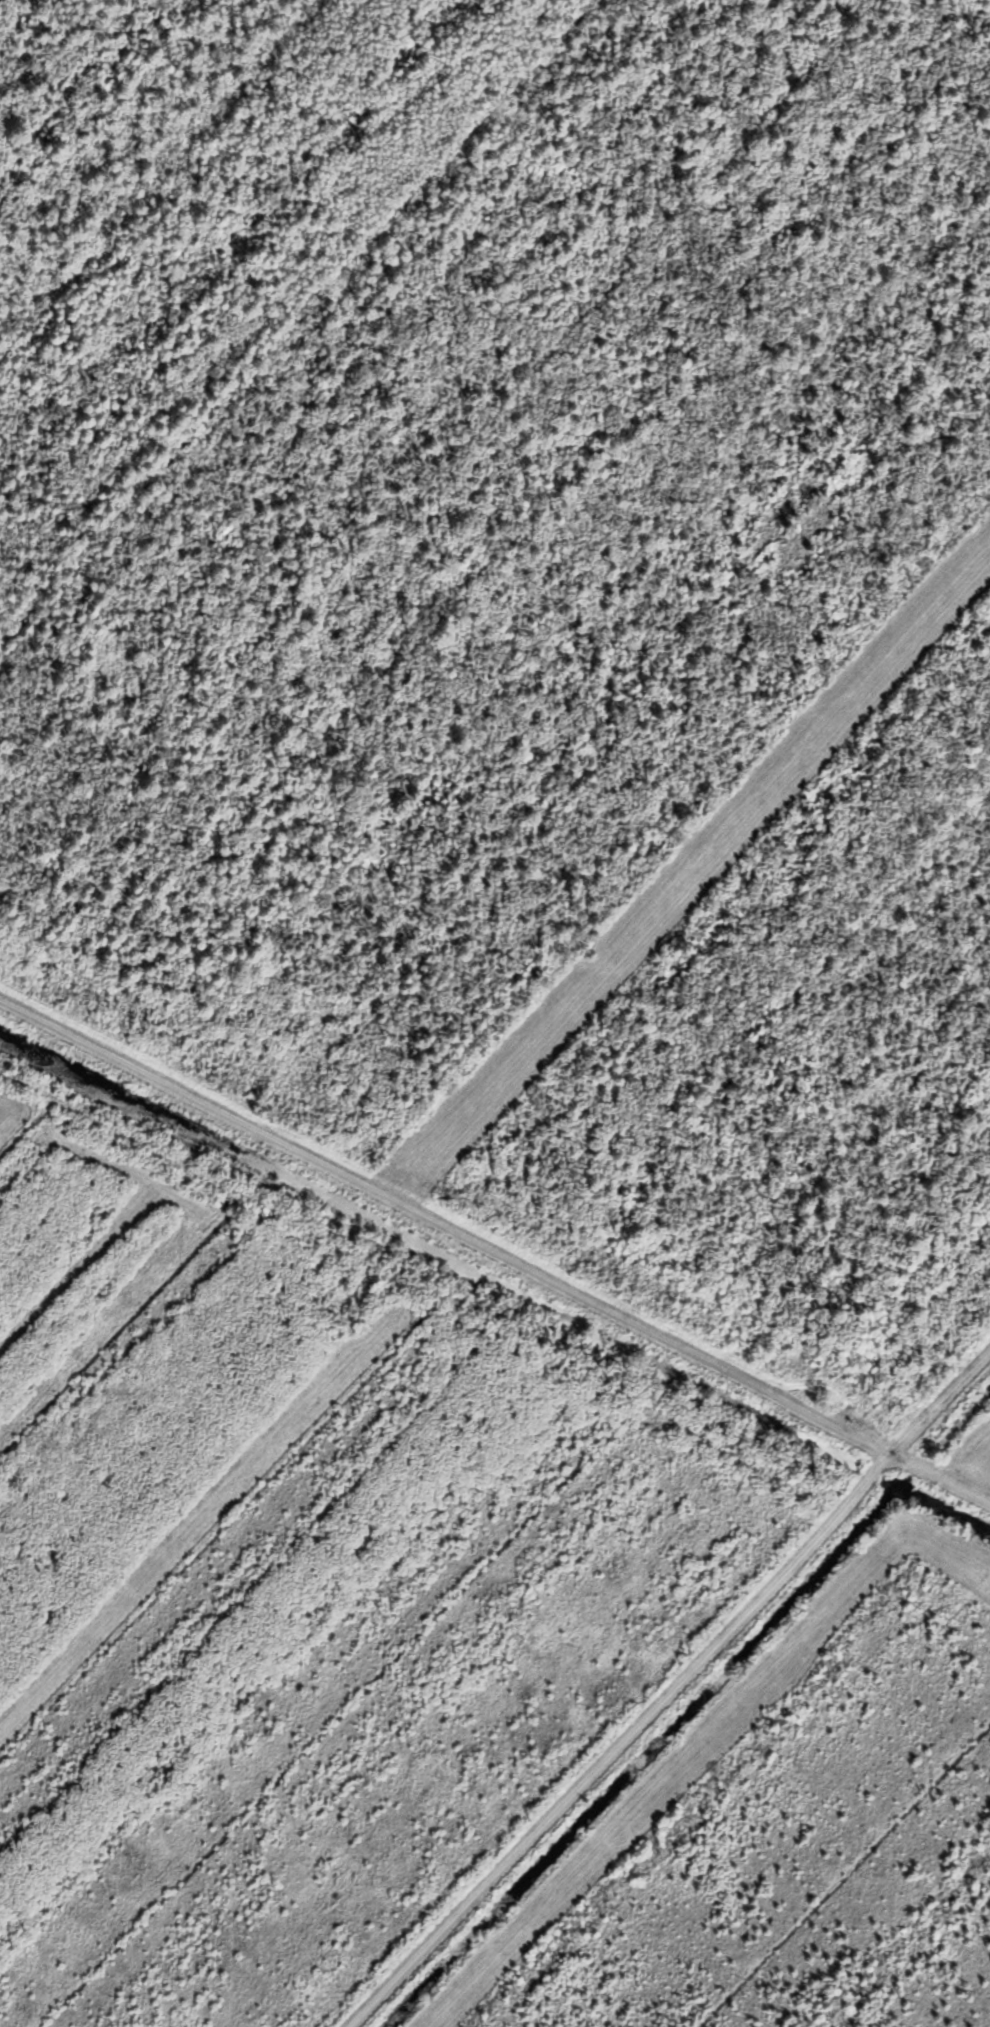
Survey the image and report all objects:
road: (496, 1252)
road: (667, 1687)

